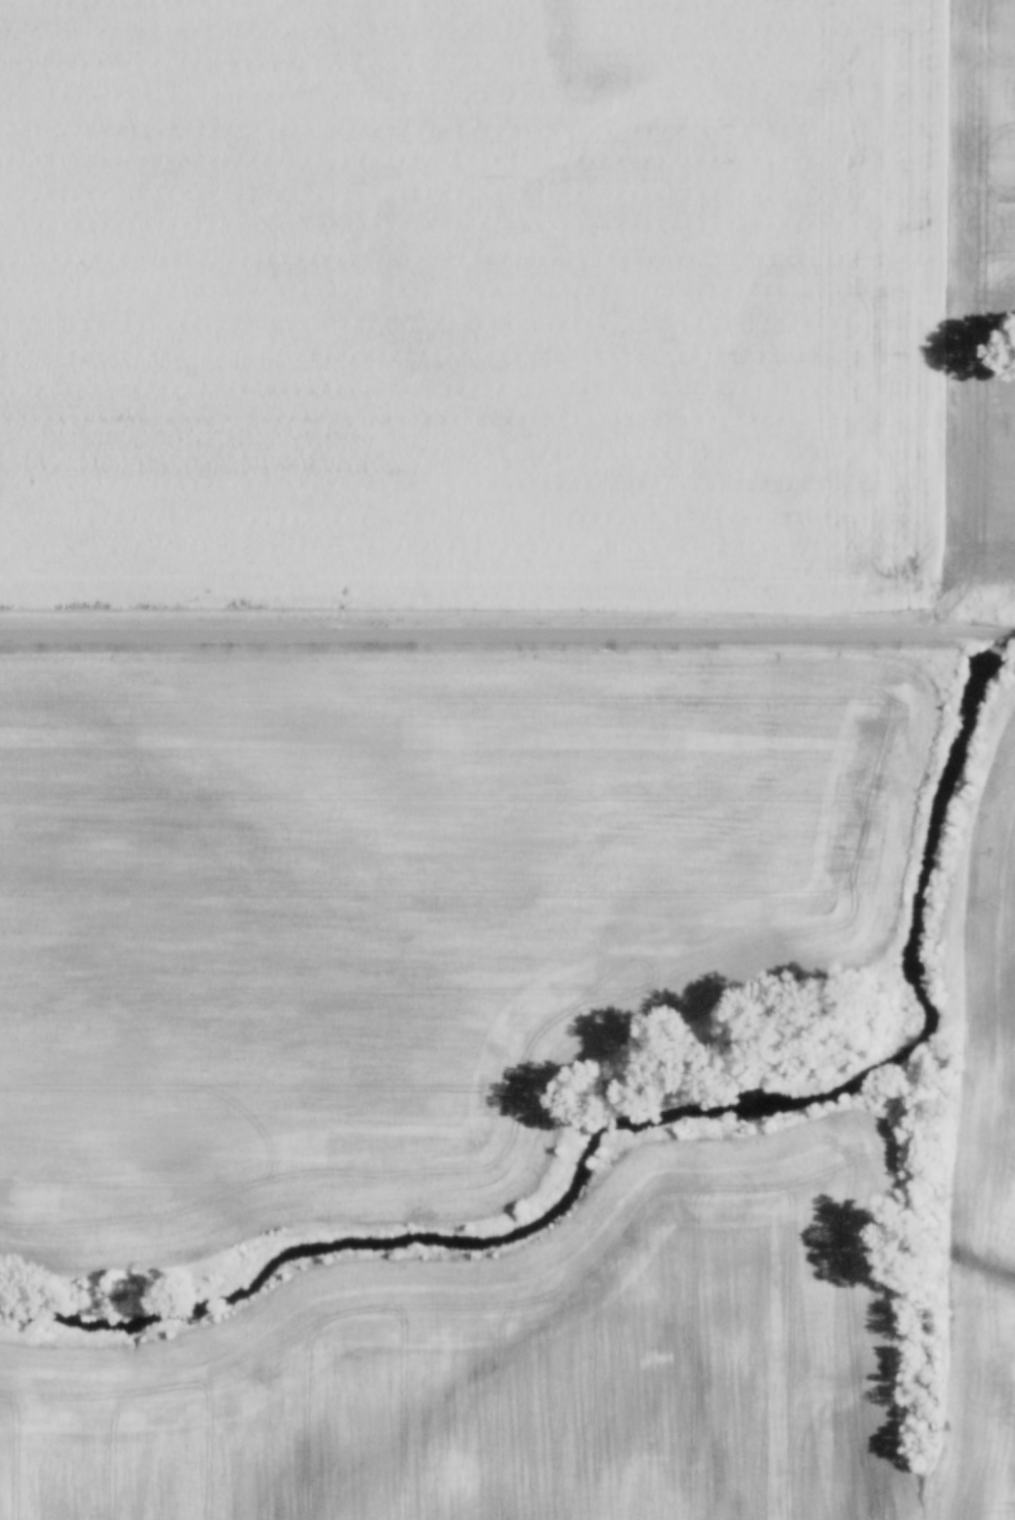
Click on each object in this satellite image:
road: (507, 635)

